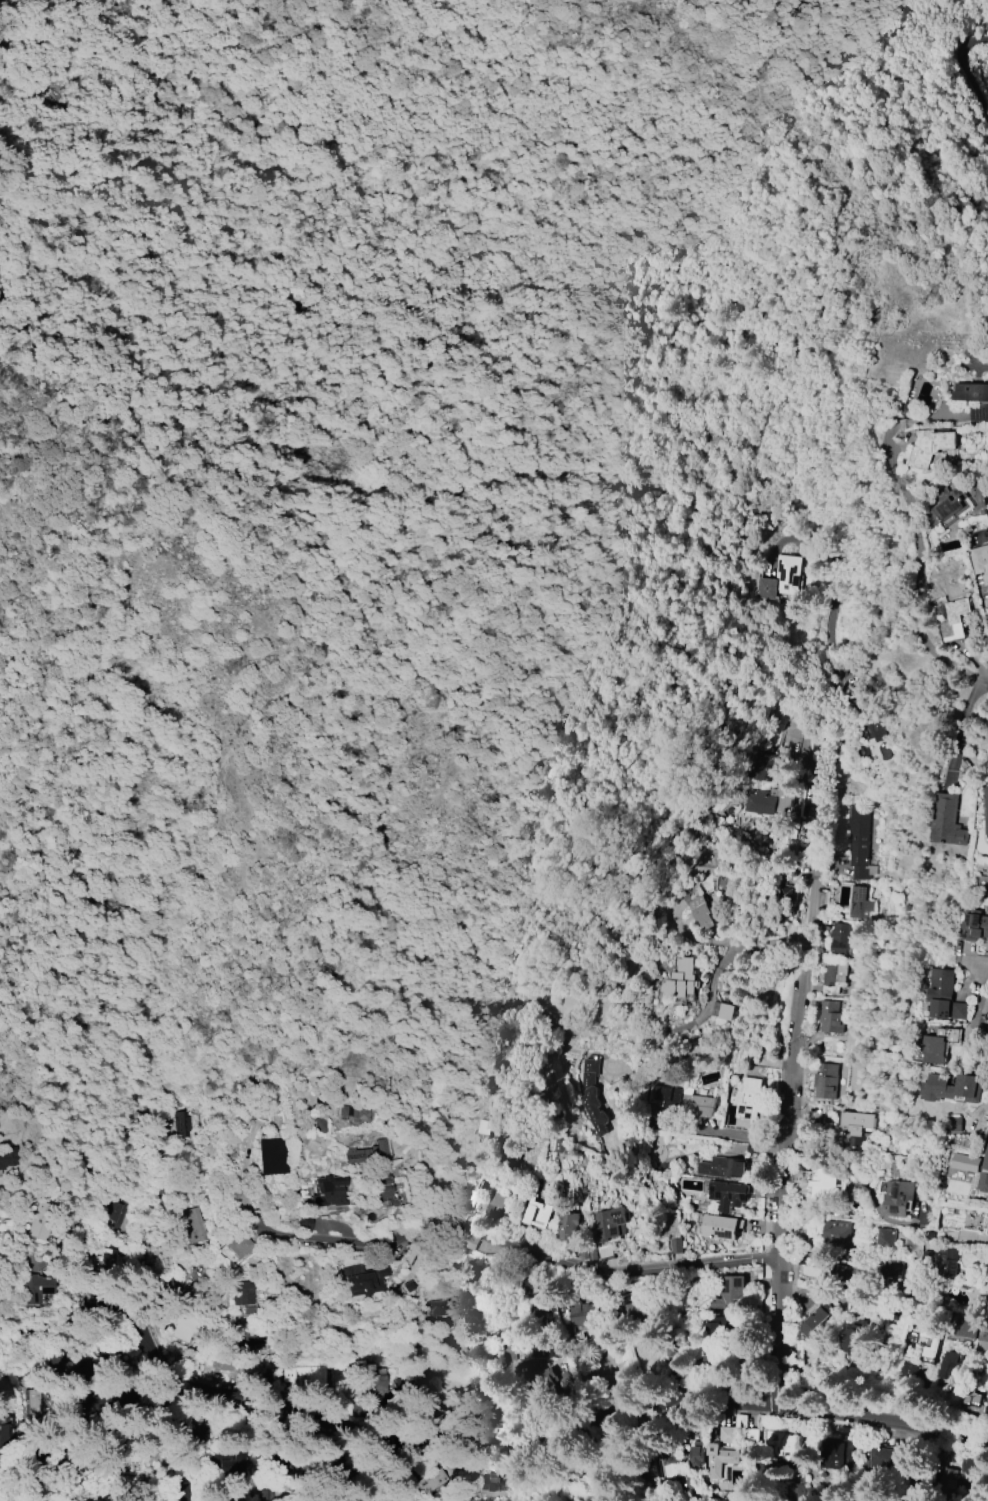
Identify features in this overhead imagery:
road: (924, 35)
road: (960, 77)
road: (736, 278)
road: (164, 327)
building: (974, 398)
building: (908, 409)
building: (932, 447)
building: (949, 505)
road: (917, 536)
building: (980, 563)
building: (779, 578)
building: (955, 619)
road: (829, 627)
road: (985, 680)
building: (865, 709)
road: (963, 727)
building: (771, 797)
building: (986, 812)
building: (948, 820)
building: (858, 843)
building: (984, 881)
building: (859, 902)
building: (784, 904)
building: (705, 912)
building: (975, 926)
building: (840, 940)
road: (730, 953)
road: (978, 966)
building: (836, 978)
building: (683, 982)
building: (941, 993)
road: (980, 1004)
building: (724, 1011)
building: (832, 1018)
building: (986, 1033)
building: (939, 1045)
building: (827, 1084)
road: (789, 1087)
building: (968, 1088)
building: (668, 1095)
building: (750, 1095)
building: (595, 1098)
building: (700, 1106)
building: (361, 1115)
building: (134, 1117)
building: (954, 1124)
building: (485, 1128)
building: (860, 1129)
road: (718, 1135)
building: (753, 1148)
building: (366, 1153)
building: (511, 1154)
building: (271, 1156)
building: (8, 1157)
building: (726, 1169)
building: (985, 1177)
building: (432, 1183)
building: (384, 1188)
building: (823, 1189)
building: (329, 1191)
building: (730, 1197)
building: (899, 1199)
building: (117, 1212)
building: (497, 1212)
building: (539, 1216)
building: (305, 1222)
building: (39, 1224)
building: (197, 1224)
building: (613, 1226)
road: (148, 1227)
building: (570, 1228)
building: (724, 1229)
building: (836, 1234)
building: (887, 1236)
building: (675, 1246)
building: (236, 1247)
building: (469, 1248)
road: (488, 1248)
building: (111, 1259)
building: (948, 1262)
building: (895, 1270)
building: (843, 1275)
building: (361, 1279)
building: (531, 1284)
building: (34, 1287)
building: (173, 1291)
building: (244, 1291)
building: (730, 1293)
building: (637, 1314)
building: (585, 1315)
building: (817, 1318)
building: (181, 1326)
building: (965, 1326)
road: (268, 1332)
road: (151, 1337)
building: (984, 1337)
building: (854, 1341)
building: (935, 1341)
building: (715, 1346)
building: (539, 1347)
building: (253, 1352)
building: (951, 1366)
building: (366, 1371)
road: (503, 1371)
building: (66, 1373)
building: (907, 1373)
building: (313, 1376)
building: (550, 1379)
building: (415, 1389)
building: (6, 1402)
building: (32, 1402)
building: (976, 1403)
road: (637, 1407)
building: (488, 1409)
road: (234, 1429)
building: (183, 1436)
building: (786, 1444)
building: (837, 1456)
building: (696, 1457)
building: (724, 1457)
building: (883, 1457)
building: (39, 1460)
building: (666, 1464)
building: (969, 1472)
building: (946, 1480)
building: (432, 1481)
building: (495, 1486)
building: (684, 1486)
building: (247, 1488)
road: (7, 1500)

